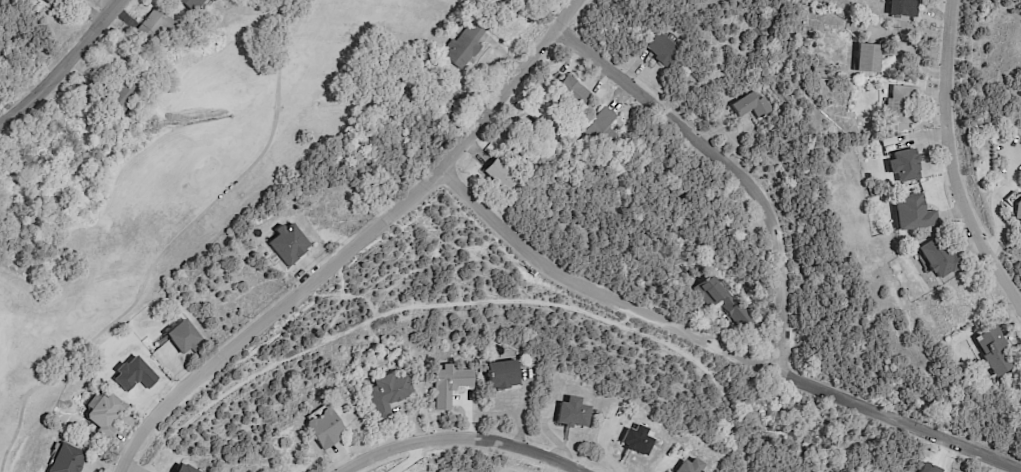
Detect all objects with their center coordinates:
building: (65, 1)
building: (209, 1)
building: (46, 3)
building: (186, 6)
building: (902, 8)
building: (151, 28)
building: (464, 45)
building: (661, 47)
building: (867, 56)
road: (50, 62)
building: (817, 68)
building: (572, 92)
building: (121, 94)
building: (900, 103)
building: (751, 104)
building: (602, 128)
building: (888, 141)
road: (723, 159)
road: (958, 159)
building: (904, 164)
building: (500, 174)
building: (871, 193)
building: (1017, 209)
building: (914, 212)
road: (338, 236)
building: (288, 243)
road: (168, 247)
building: (938, 257)
building: (896, 267)
building: (712, 291)
building: (740, 317)
building: (181, 336)
road: (705, 342)
building: (995, 350)
building: (500, 374)
building: (448, 385)
building: (386, 394)
building: (571, 413)
building: (102, 414)
building: (323, 429)
road: (457, 439)
building: (636, 440)
building: (65, 459)
building: (688, 466)
building: (183, 469)

